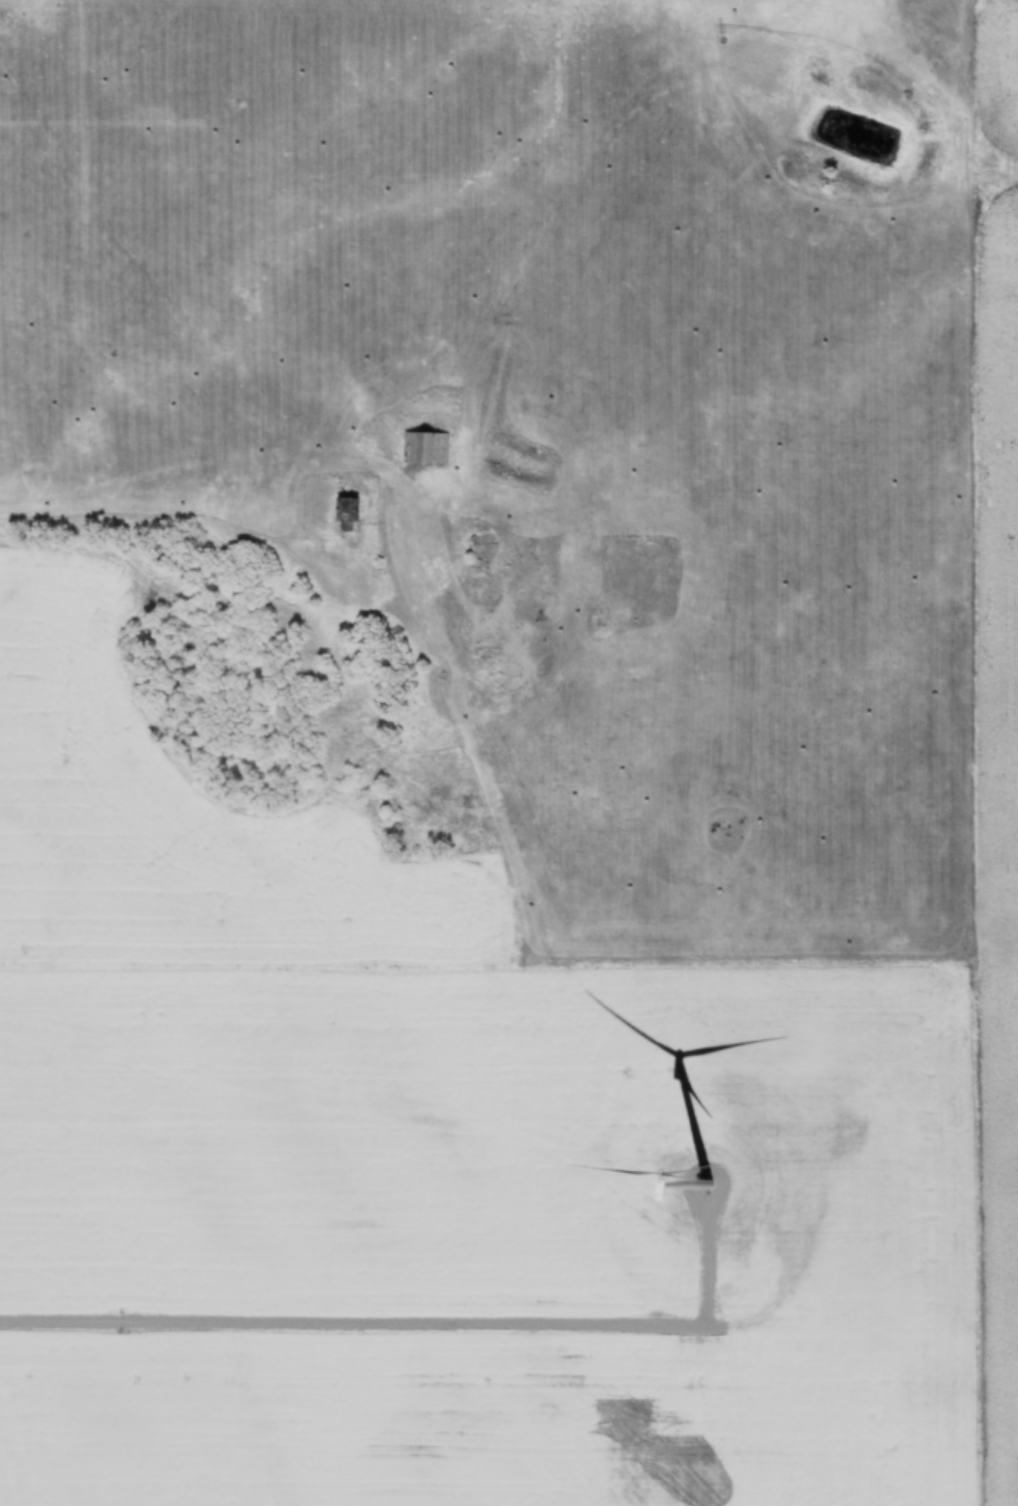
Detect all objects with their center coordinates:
wind turbine: (709, 1190)
road: (349, 1321)

